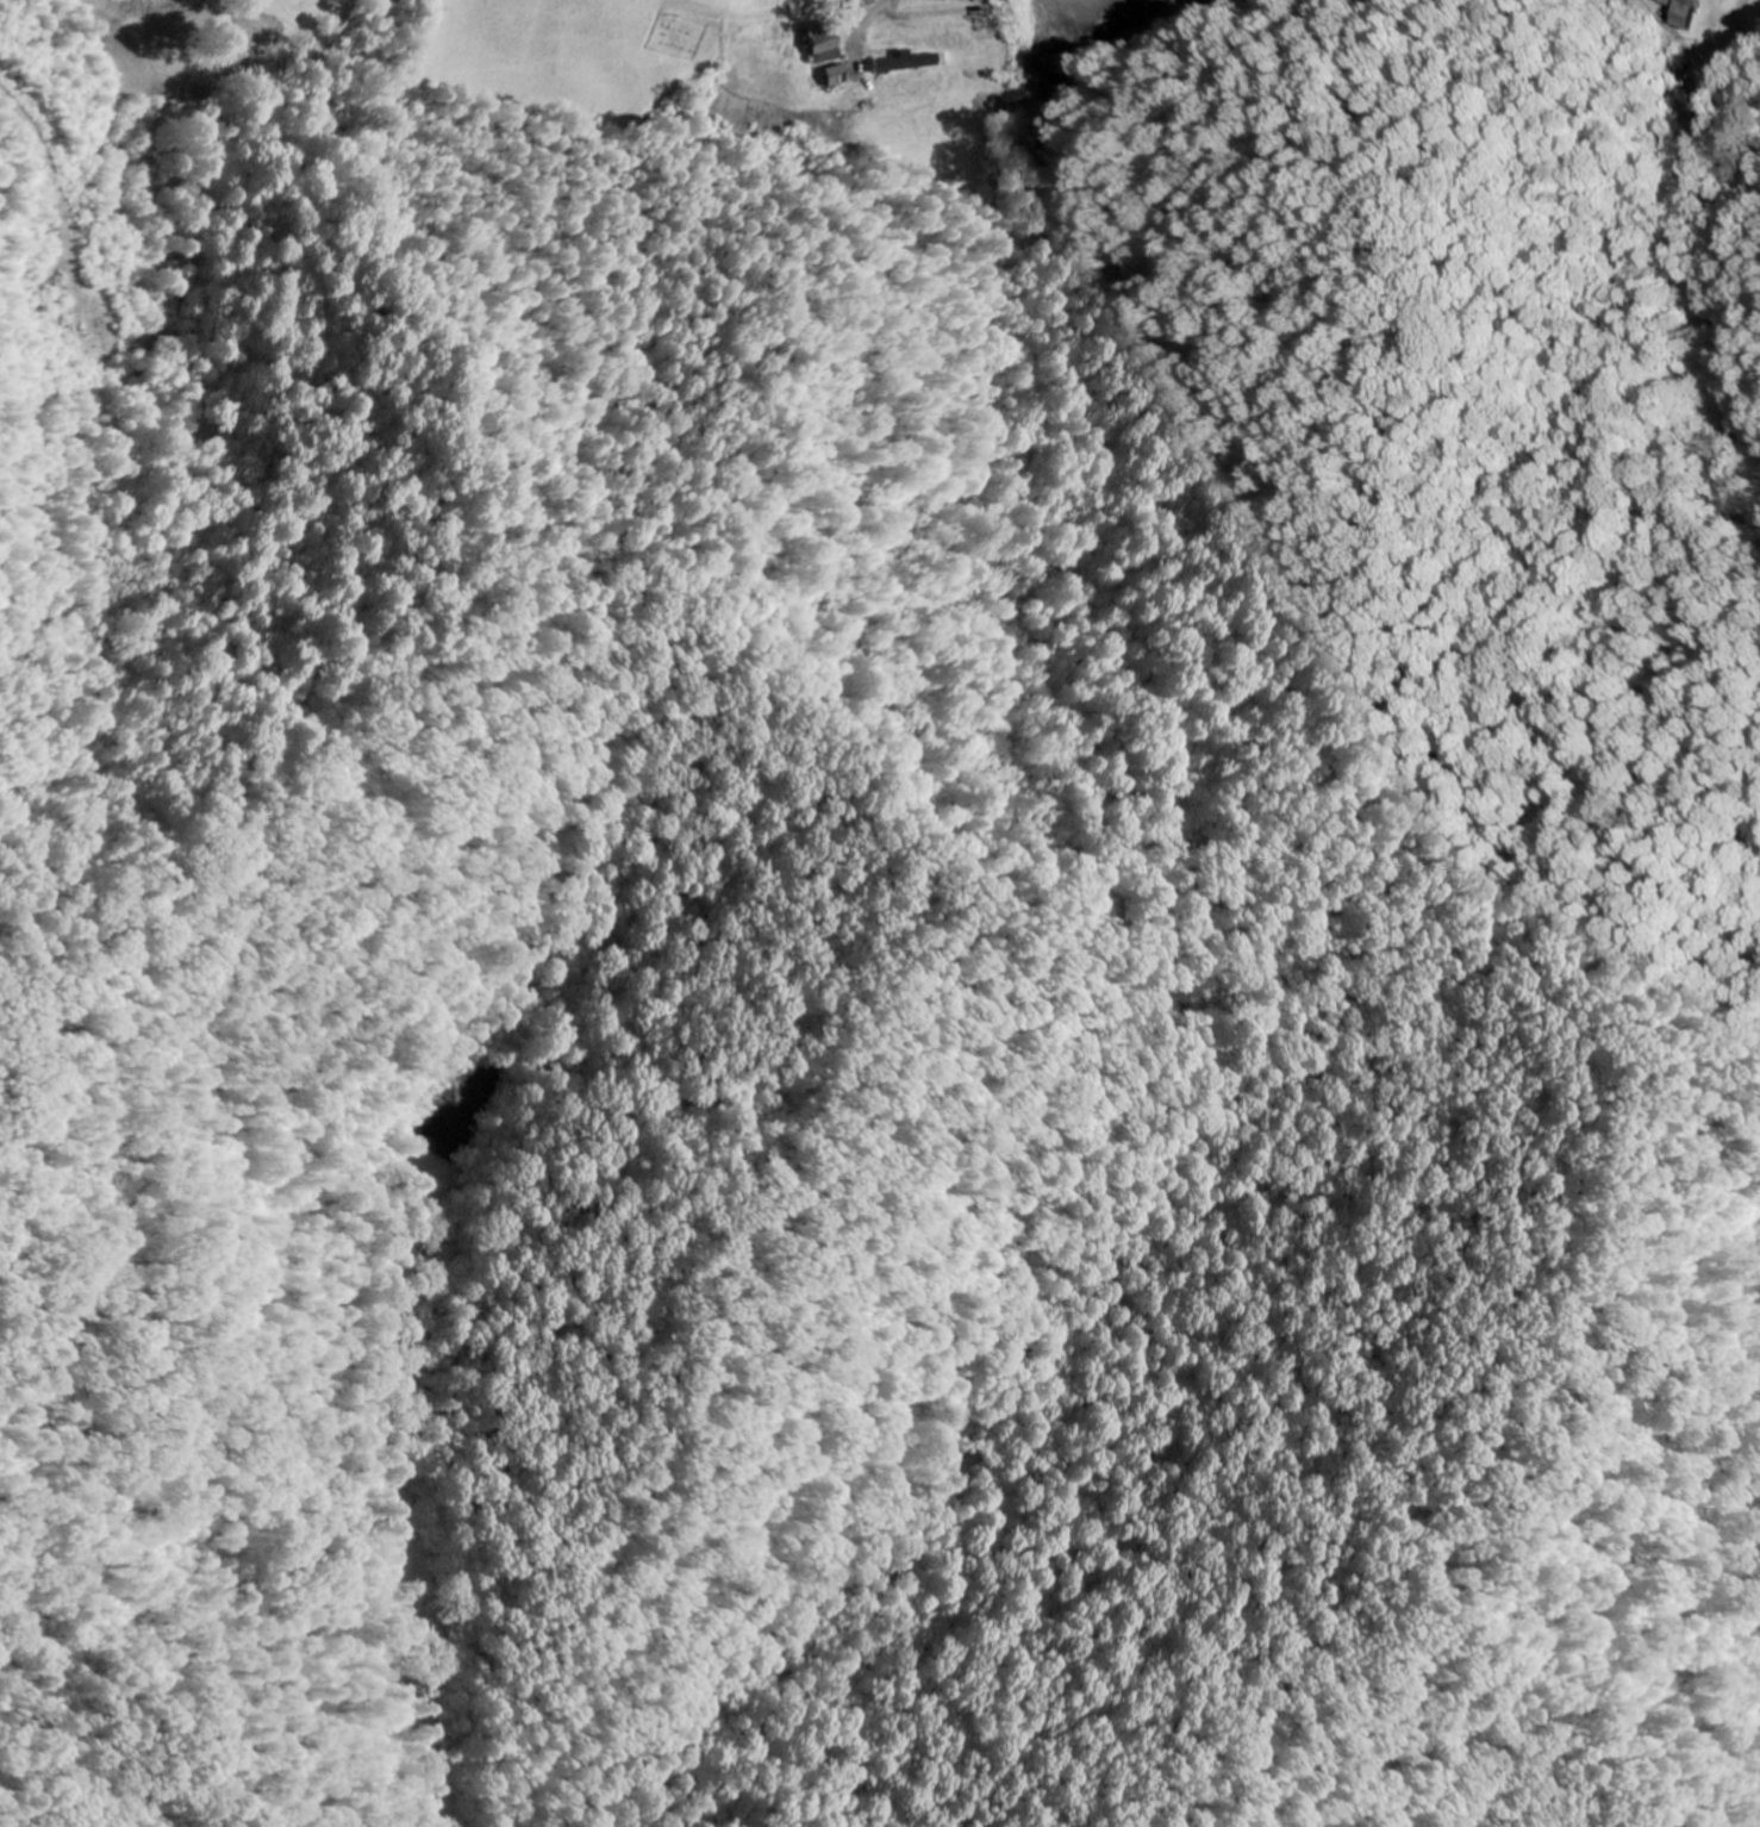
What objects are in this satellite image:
road: (1721, 1)
road: (763, 15)
park: (1743, 31)
park: (681, 33)
building: (916, 61)
building: (851, 75)

